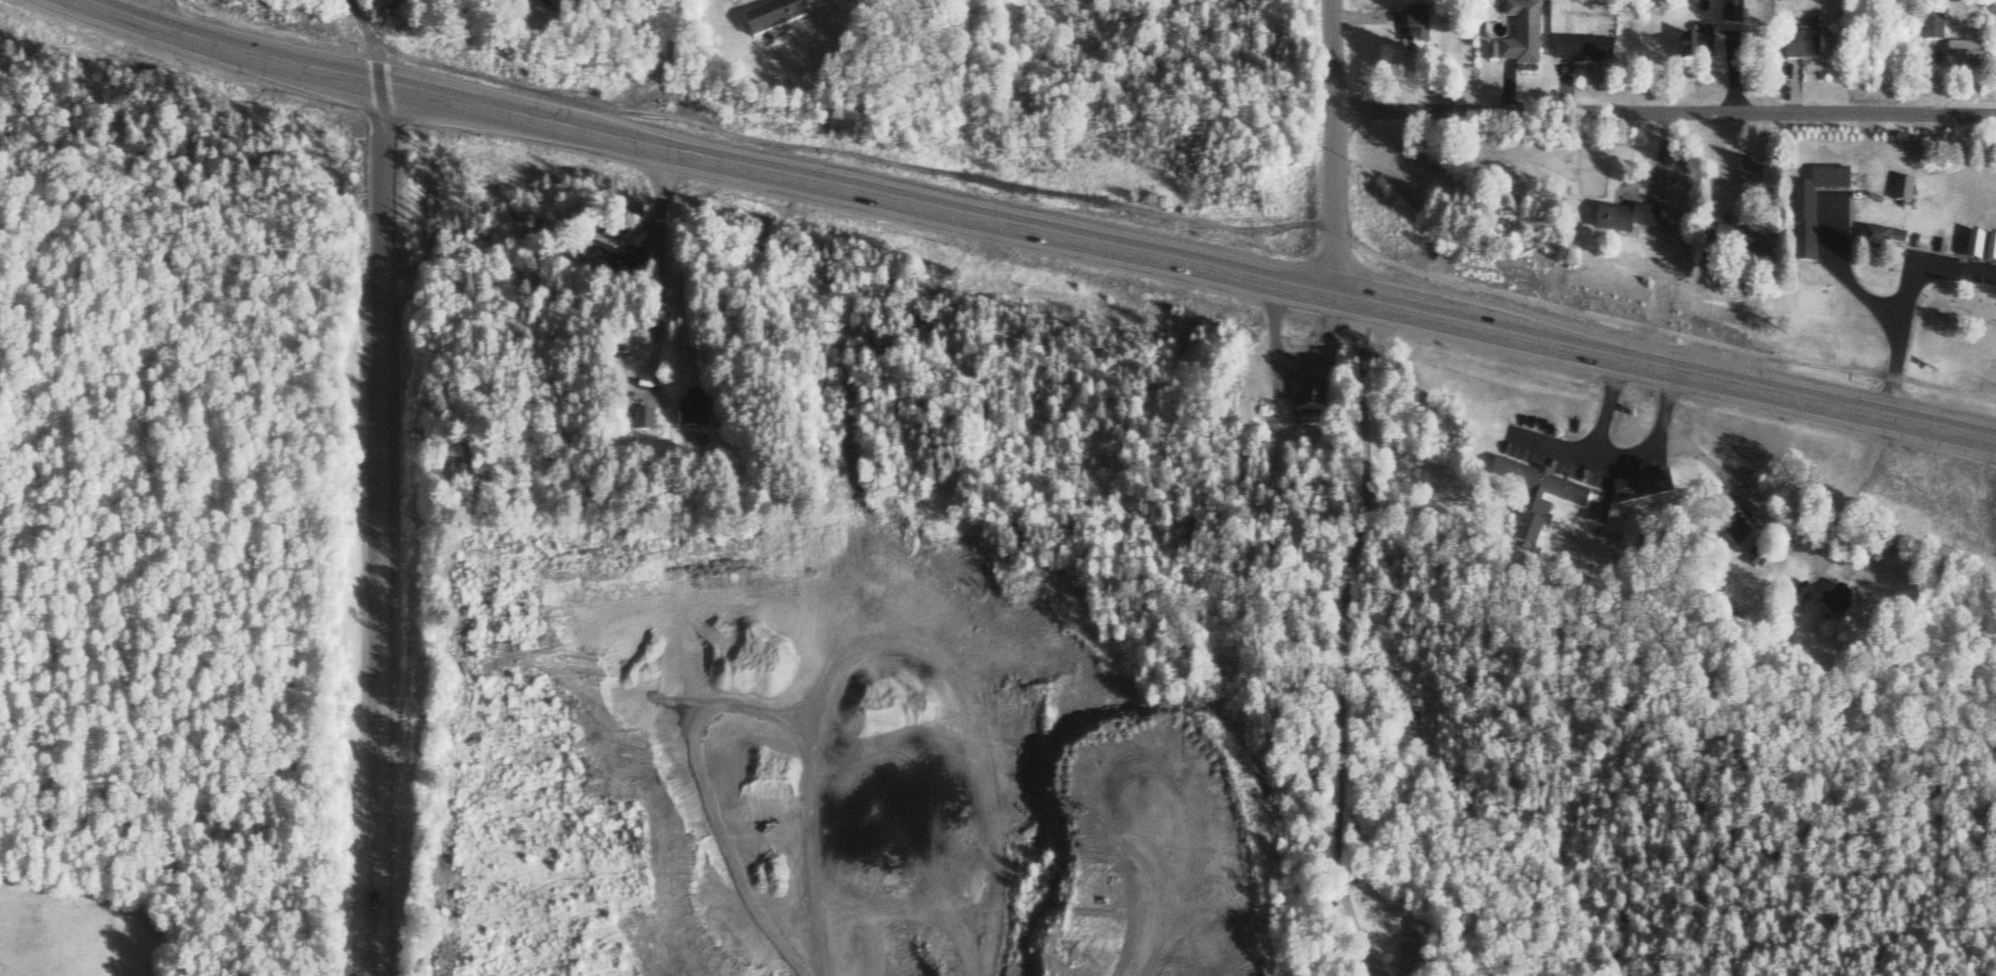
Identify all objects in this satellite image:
building: (570, 5)
building: (780, 18)
building: (1421, 29)
building: (1936, 30)
building: (1525, 38)
road: (368, 40)
building: (1809, 51)
building: (1587, 53)
building: (1699, 54)
building: (1970, 59)
road: (1664, 112)
road: (1333, 148)
building: (1752, 176)
building: (1805, 209)
building: (1629, 222)
road: (1192, 224)
road: (1033, 231)
building: (1883, 241)
building: (1746, 245)
building: (1979, 249)
building: (1993, 252)
building: (621, 267)
road: (654, 272)
road: (1905, 305)
road: (1360, 362)
building: (1308, 398)
building: (696, 414)
building: (646, 424)
road: (1618, 456)
building: (1646, 489)
building: (1557, 492)
road: (382, 531)
building: (1633, 534)
building: (1415, 935)

